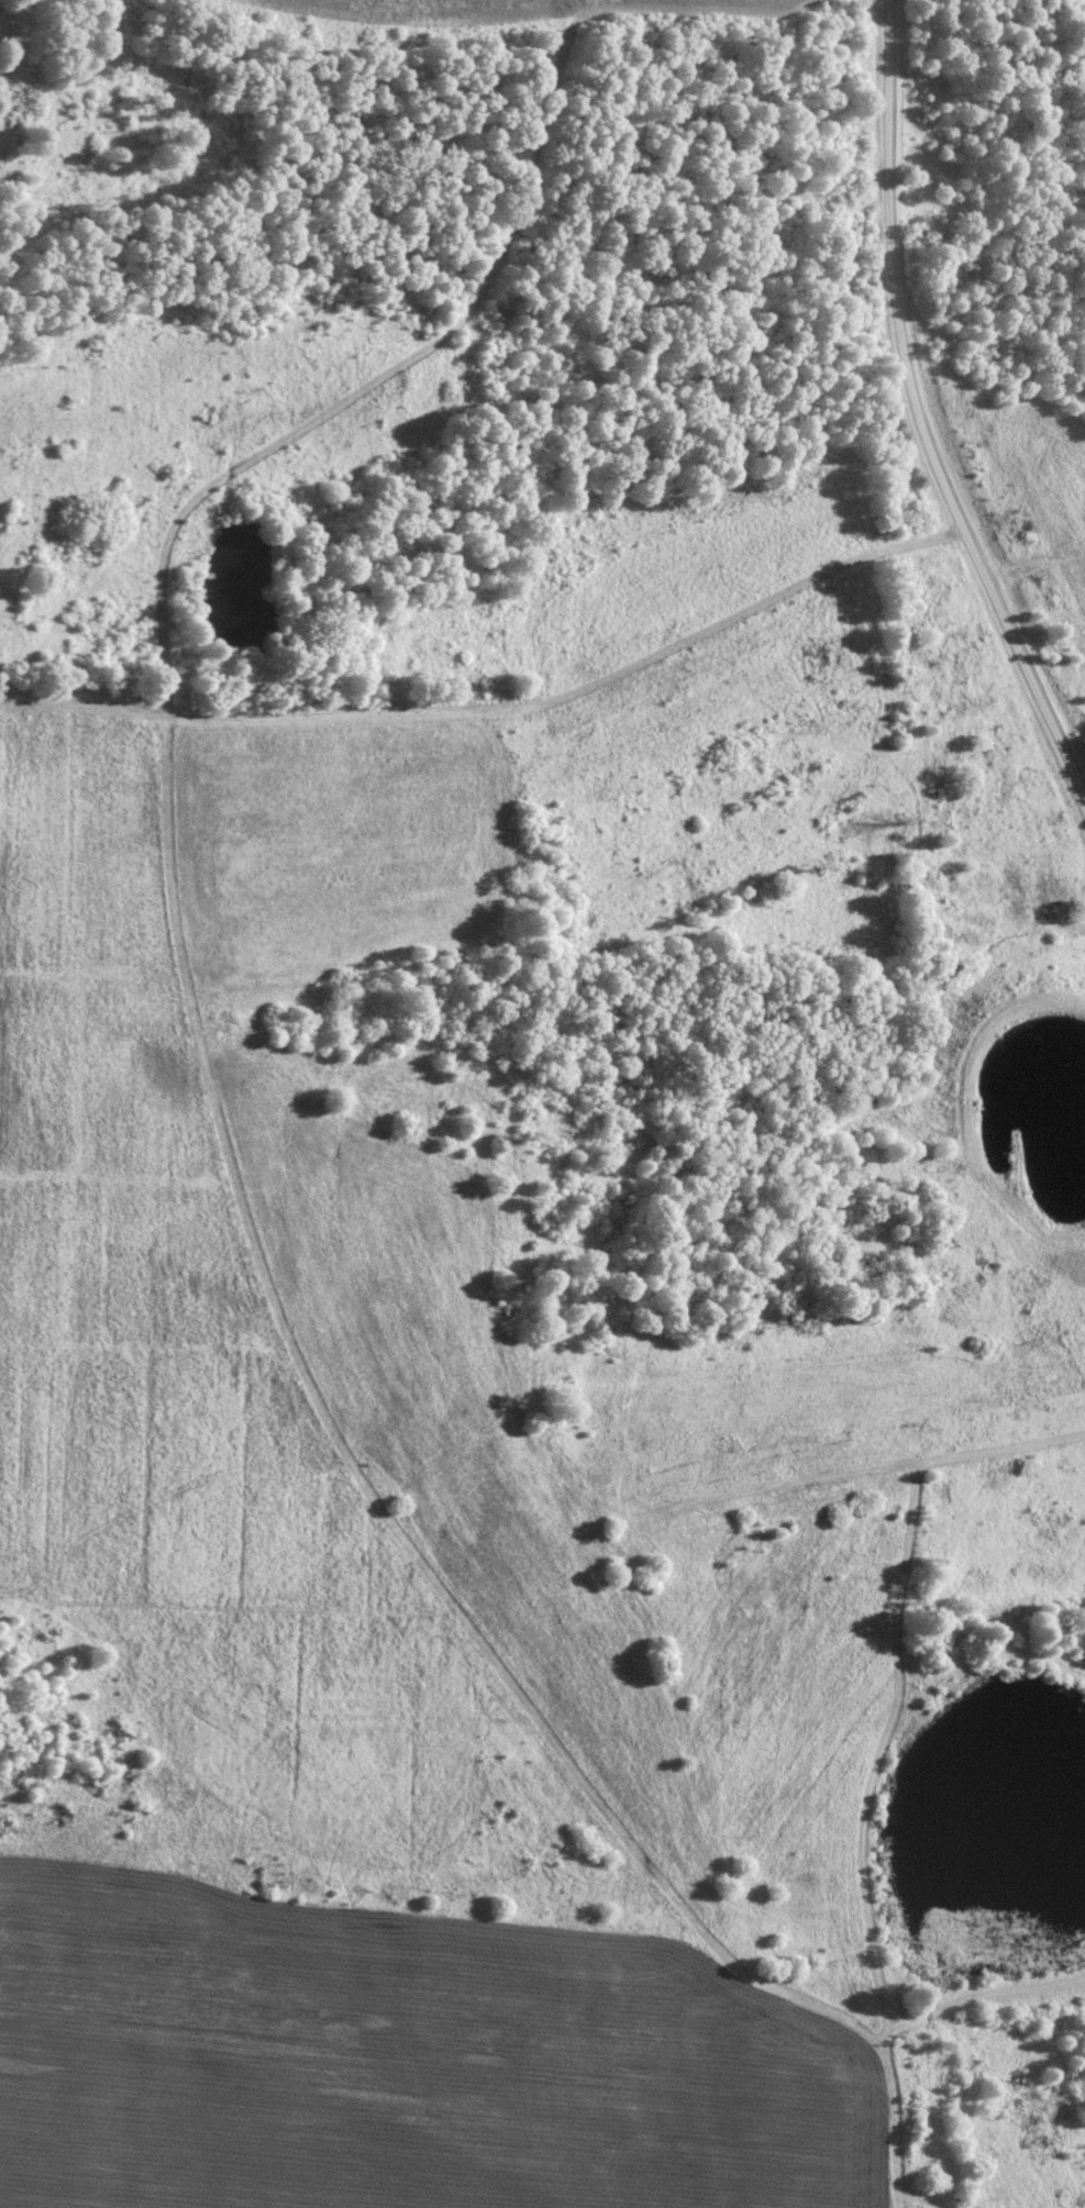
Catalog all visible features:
road: (888, 127)
road: (963, 534)

